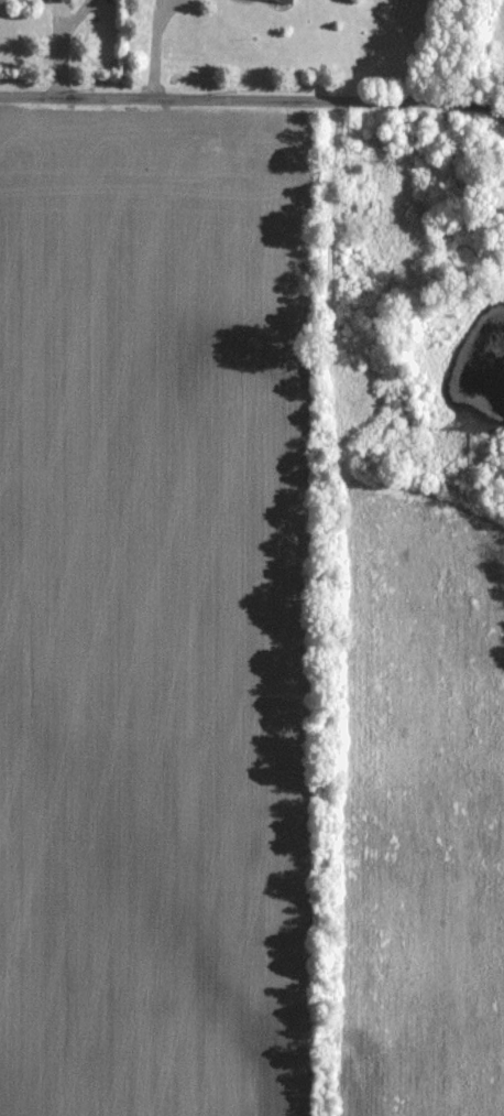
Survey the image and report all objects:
building: (59, 1)
road: (156, 2)
road: (166, 2)
building: (277, 2)
road: (152, 51)
road: (252, 100)

